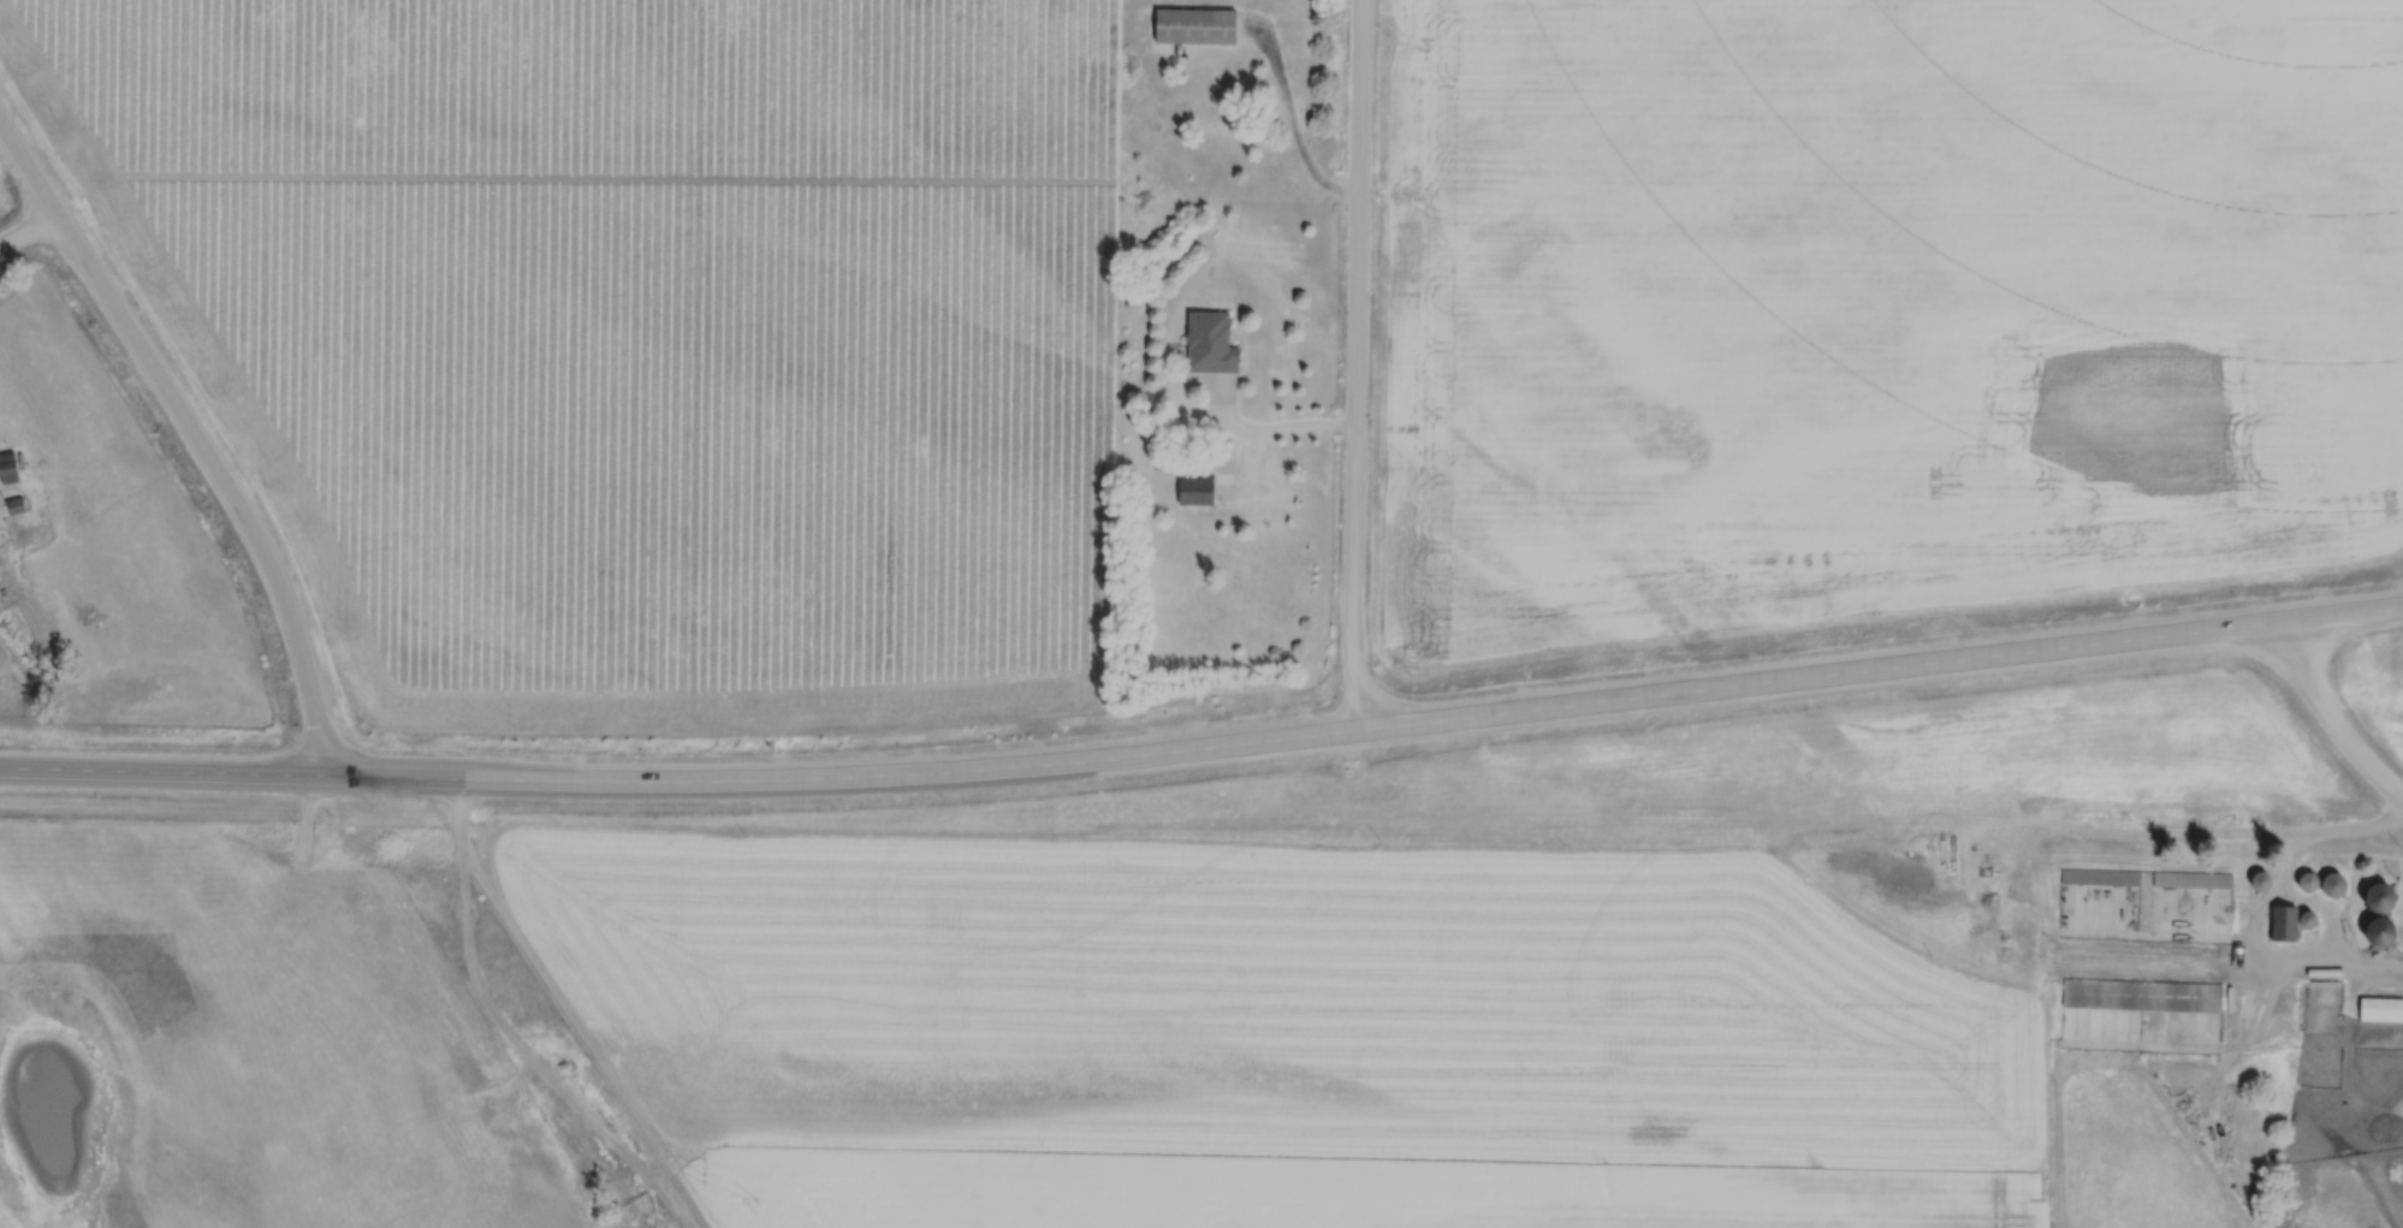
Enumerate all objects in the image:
building: (1199, 22)
road: (25, 226)
building: (1212, 339)
road: (1359, 362)
road: (189, 435)
building: (1198, 487)
road: (2332, 713)
road: (1204, 741)
building: (2100, 874)
building: (2260, 878)
building: (2325, 879)
building: (2381, 894)
building: (2309, 916)
building: (2284, 920)
building: (2379, 927)
building: (2142, 992)
building: (2380, 1005)

